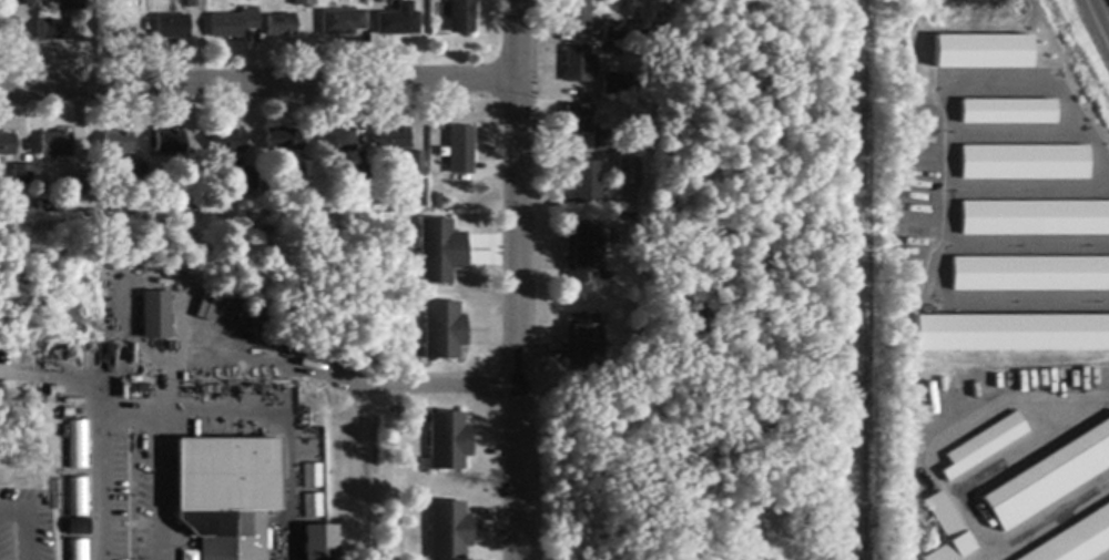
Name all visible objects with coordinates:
building: (22, 3)
building: (195, 3)
building: (304, 3)
building: (71, 6)
building: (133, 7)
building: (577, 13)
road: (1101, 14)
building: (461, 17)
building: (398, 22)
building: (343, 23)
building: (234, 24)
building: (281, 27)
building: (172, 28)
building: (55, 29)
building: (118, 29)
building: (8, 30)
building: (612, 31)
building: (981, 54)
building: (579, 65)
road: (260, 84)
building: (615, 84)
building: (1005, 111)
building: (577, 120)
building: (393, 139)
building: (284, 141)
building: (337, 141)
building: (603, 141)
building: (225, 142)
building: (119, 143)
building: (170, 143)
building: (7, 145)
building: (57, 145)
building: (460, 151)
building: (1026, 162)
building: (416, 165)
building: (135, 173)
building: (628, 174)
building: (23, 175)
building: (358, 175)
building: (196, 176)
building: (248, 180)
building: (581, 182)
building: (74, 187)
building: (268, 193)
building: (435, 202)
building: (1032, 217)
building: (440, 253)
building: (583, 257)
building: (1030, 272)
road: (518, 279)
railway: (847, 279)
railway: (861, 279)
building: (155, 316)
building: (444, 332)
building: (1011, 334)
building: (581, 345)
road: (238, 362)
road: (126, 418)
building: (447, 442)
building: (77, 444)
building: (983, 446)
building: (313, 477)
building: (1049, 478)
building: (226, 493)
building: (77, 496)
building: (313, 507)
building: (79, 528)
building: (448, 531)
building: (947, 531)
building: (1077, 540)
building: (319, 543)
building: (77, 549)
building: (189, 554)

